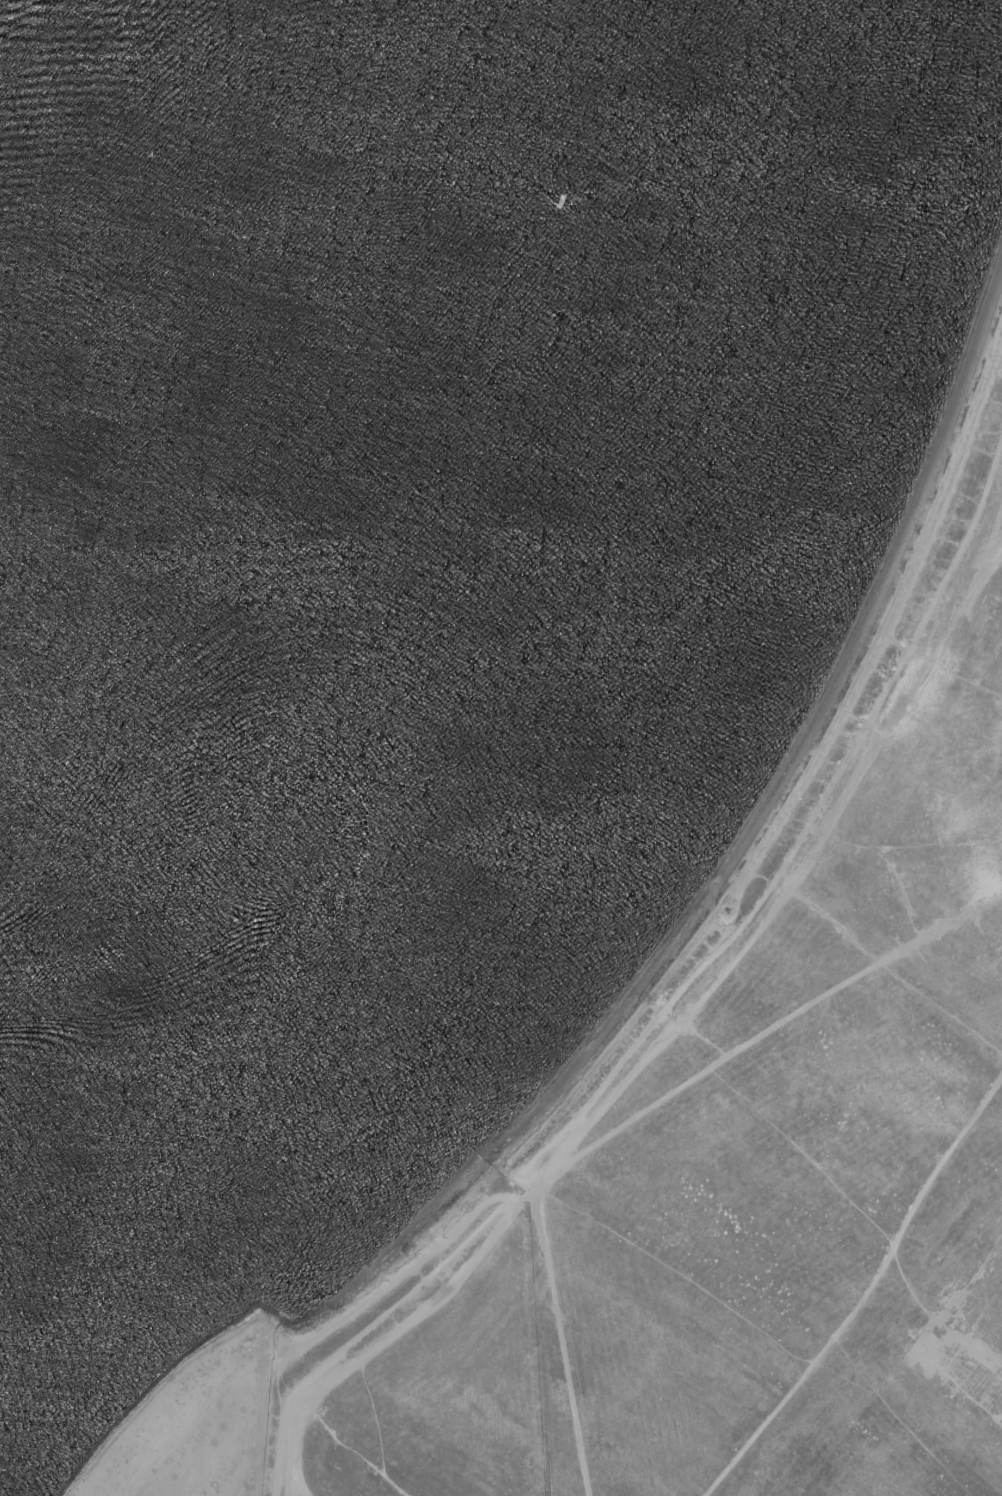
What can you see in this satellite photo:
road: (941, 636)
road: (857, 848)
road: (867, 957)
road: (706, 965)
road: (765, 1034)
road: (663, 1039)
park: (713, 1167)
road: (866, 1295)

